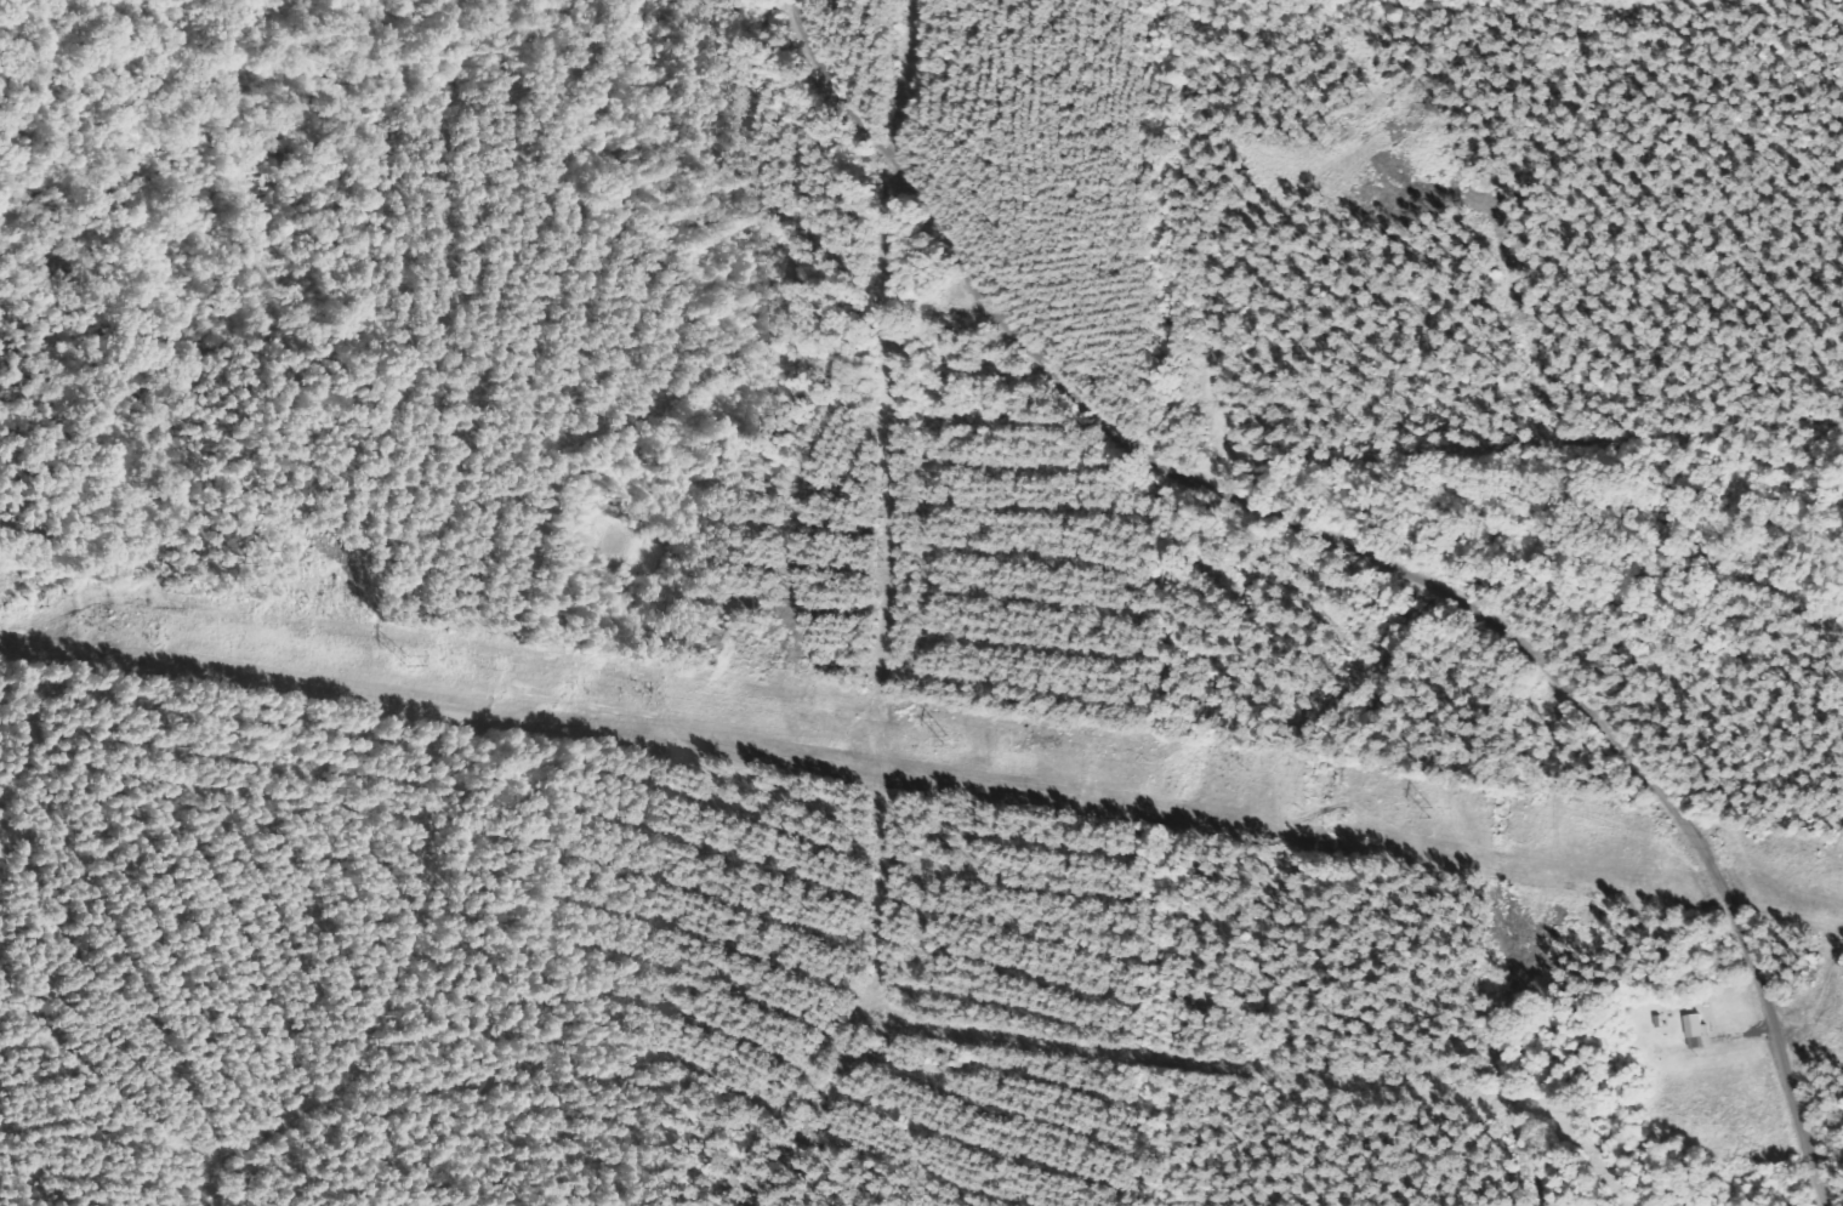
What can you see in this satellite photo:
road: (1360, 556)
building: (1695, 1025)

